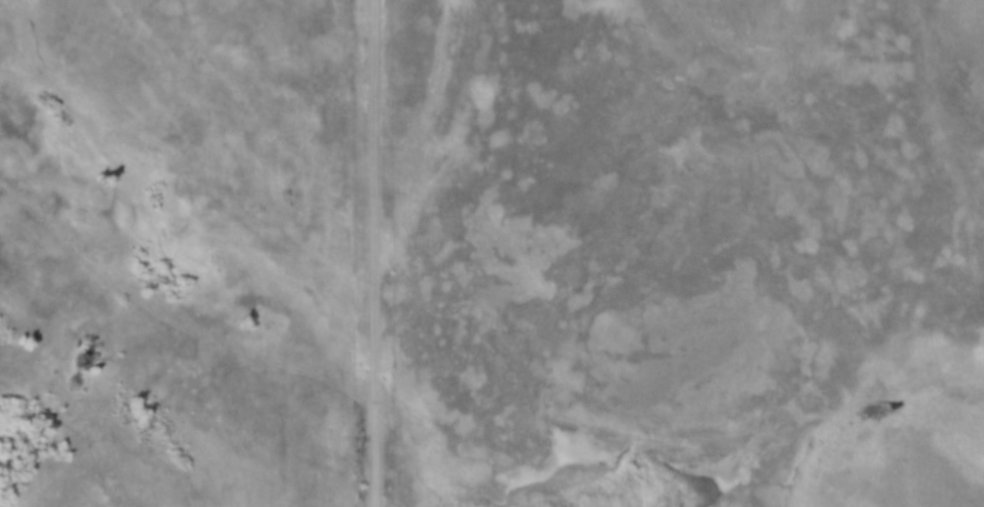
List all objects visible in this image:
road: (376, 253)
road: (173, 323)

